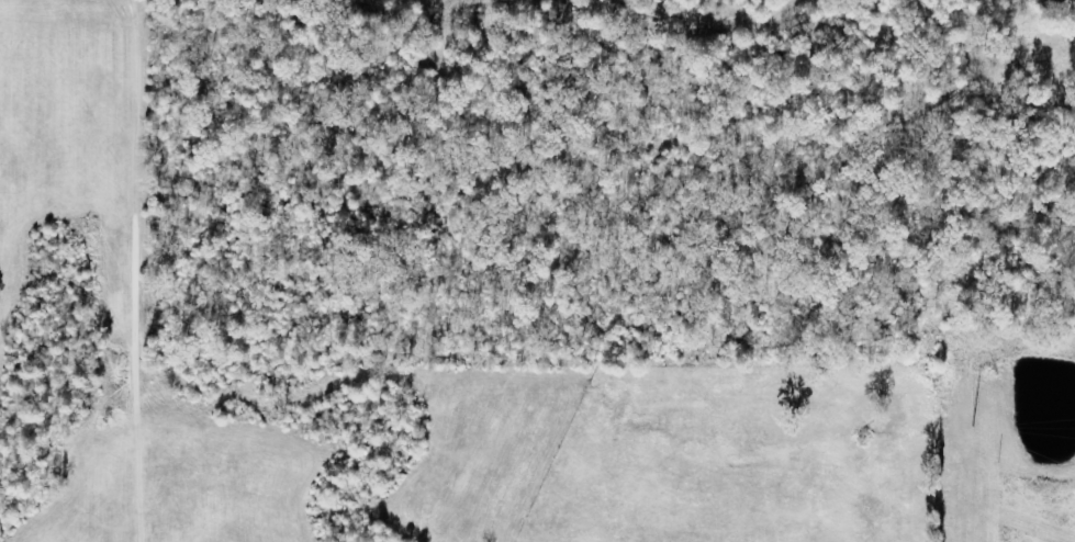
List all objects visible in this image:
road: (992, 41)
power tower: (970, 428)
power tower: (996, 464)

